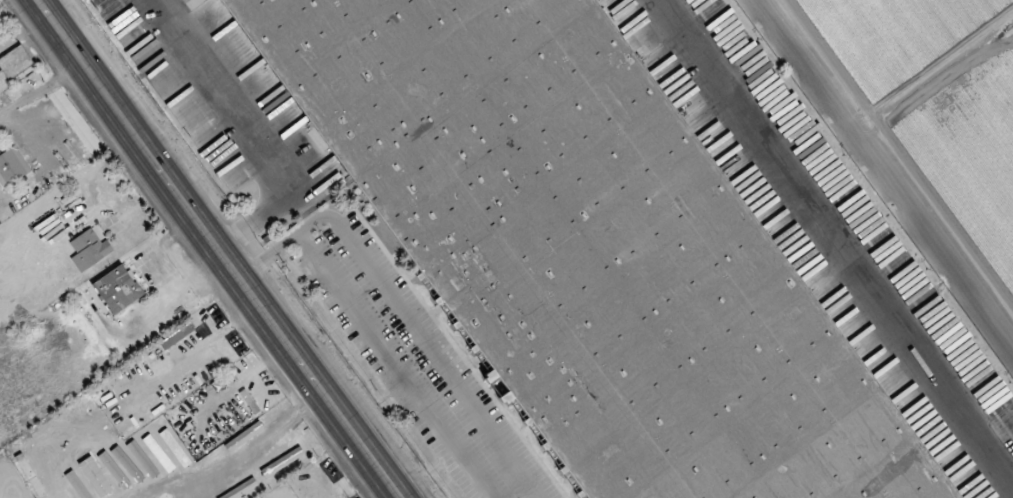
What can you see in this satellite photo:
building: (15, 62)
road: (39, 86)
road: (253, 134)
building: (12, 167)
road: (98, 205)
road: (219, 248)
building: (589, 248)
building: (89, 250)
road: (157, 276)
building: (118, 289)
road: (376, 335)
building: (140, 454)
road: (237, 456)
building: (30, 475)
building: (8, 478)
building: (68, 484)

